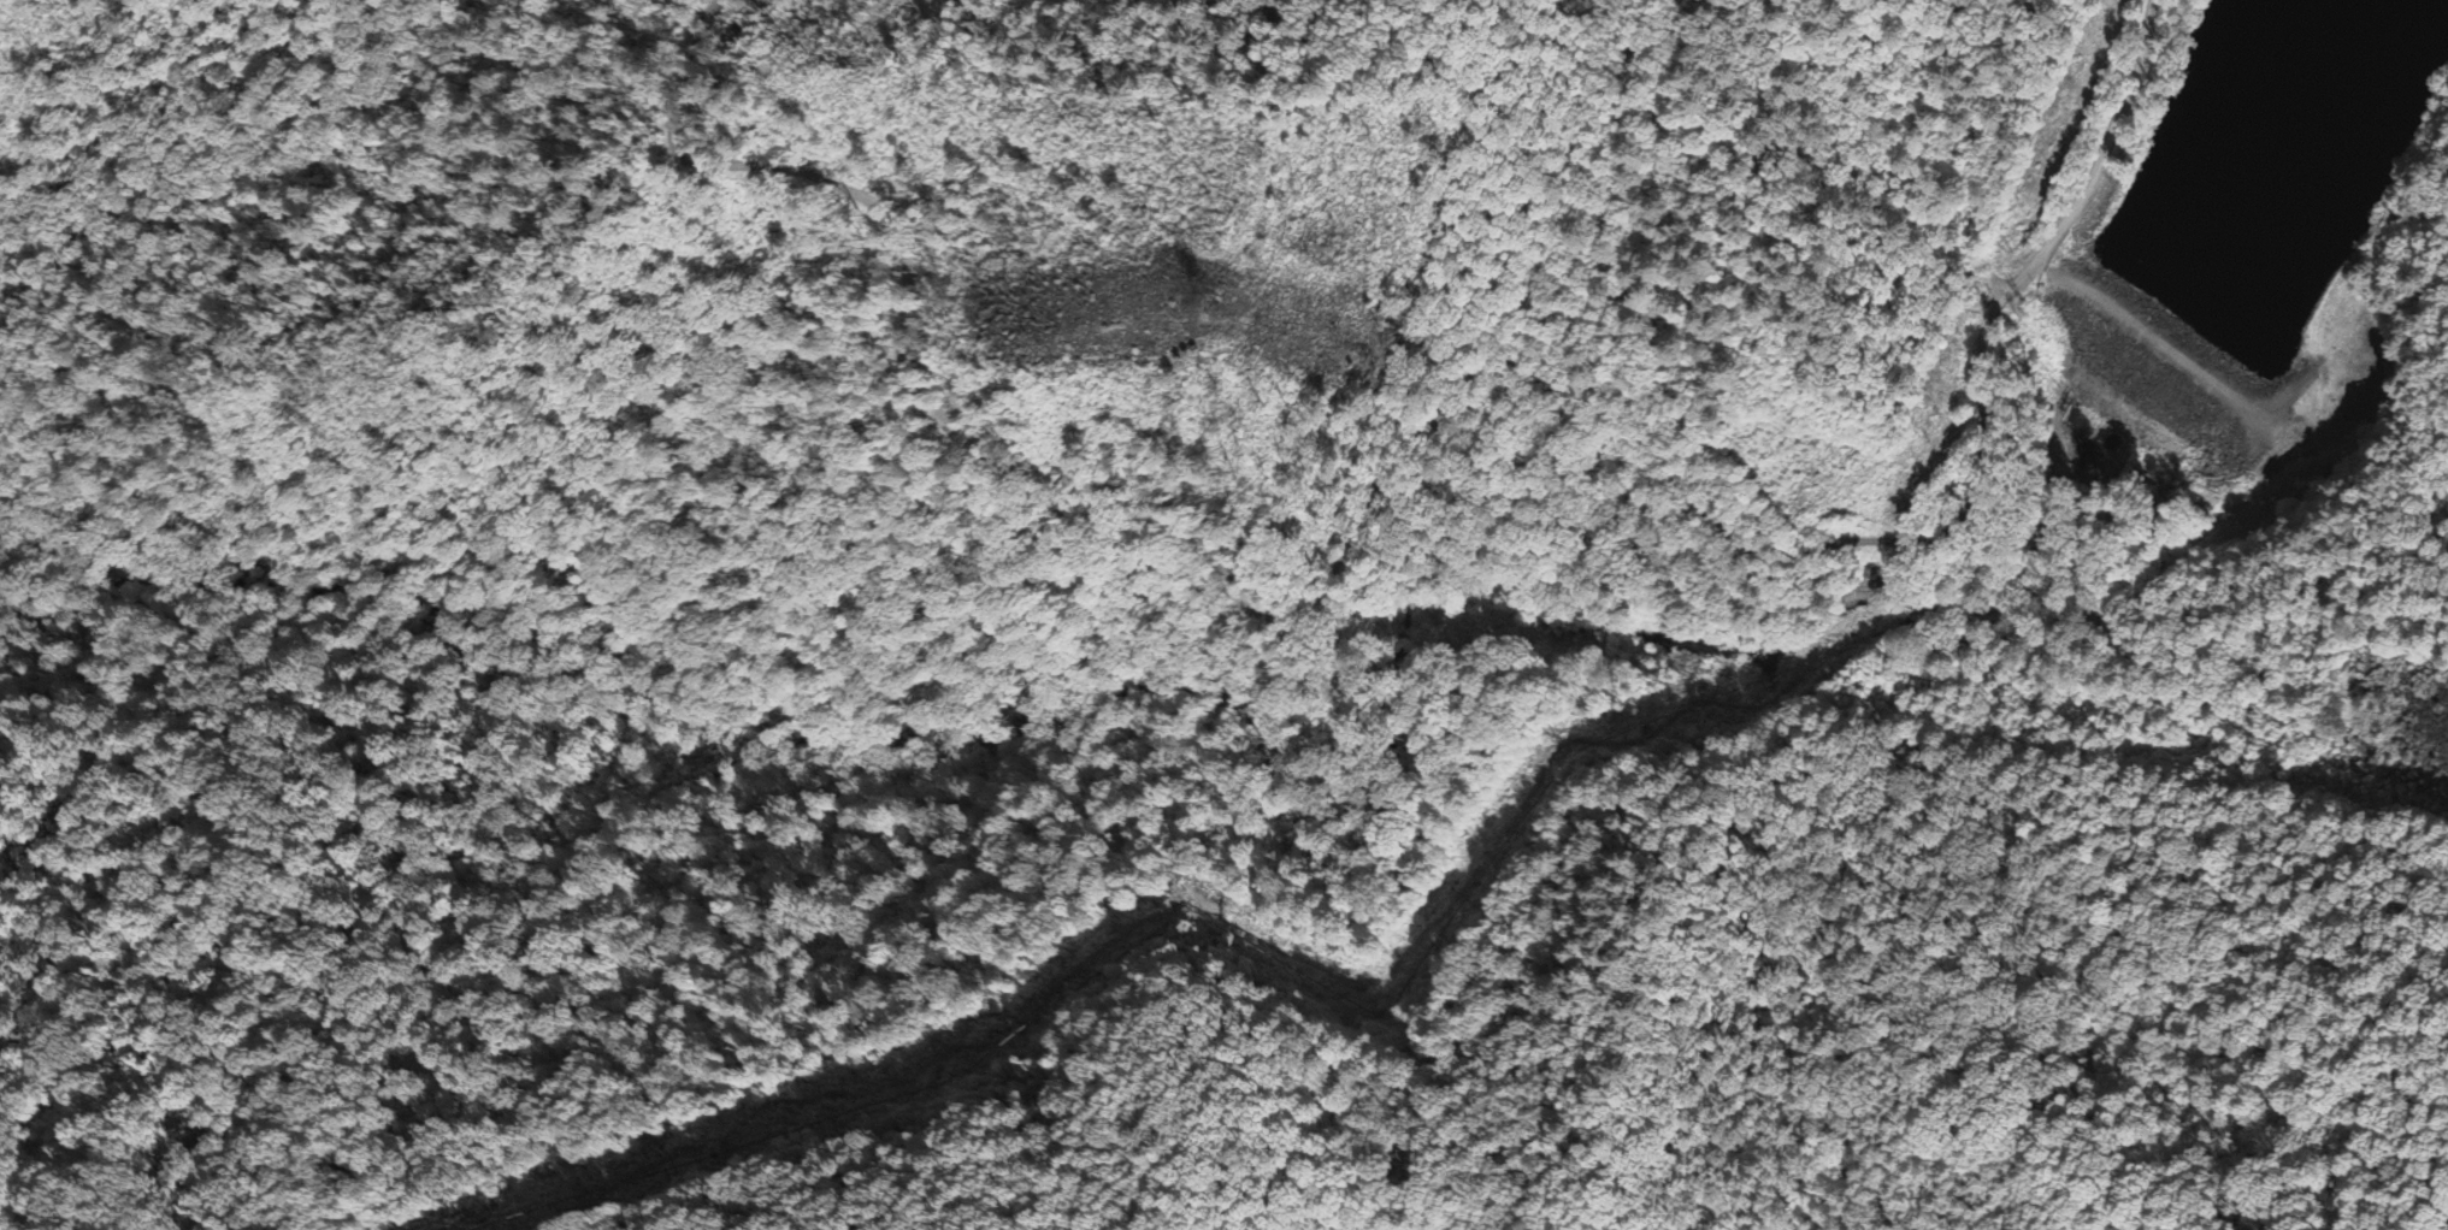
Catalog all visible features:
road: (2101, 155)
power tower: (1227, 300)
dam: (2155, 337)
road: (1326, 589)

